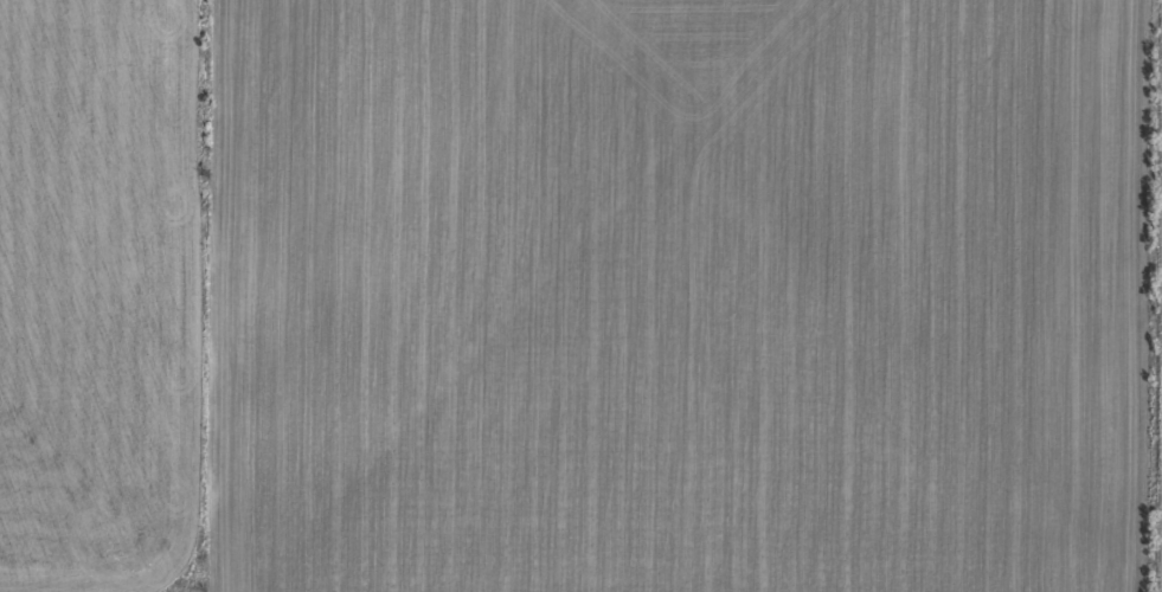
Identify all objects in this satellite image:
road: (1147, 296)

